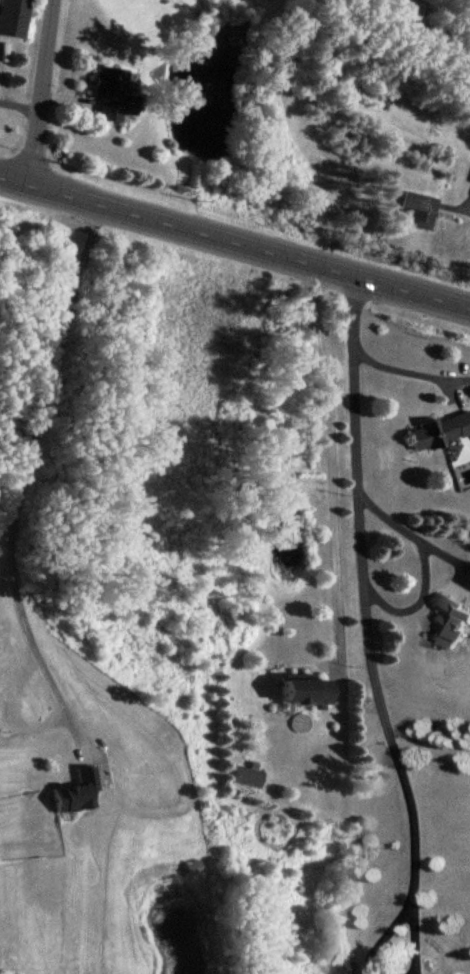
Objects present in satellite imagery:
building: (12, 16)
road: (38, 92)
building: (110, 92)
building: (413, 207)
road: (458, 207)
road: (234, 243)
road: (377, 368)
building: (437, 429)
road: (332, 465)
road: (28, 469)
road: (418, 543)
road: (426, 611)
building: (449, 620)
road: (378, 643)
building: (303, 688)
building: (246, 775)
building: (74, 790)
building: (192, 865)
road: (399, 944)
road: (425, 945)

